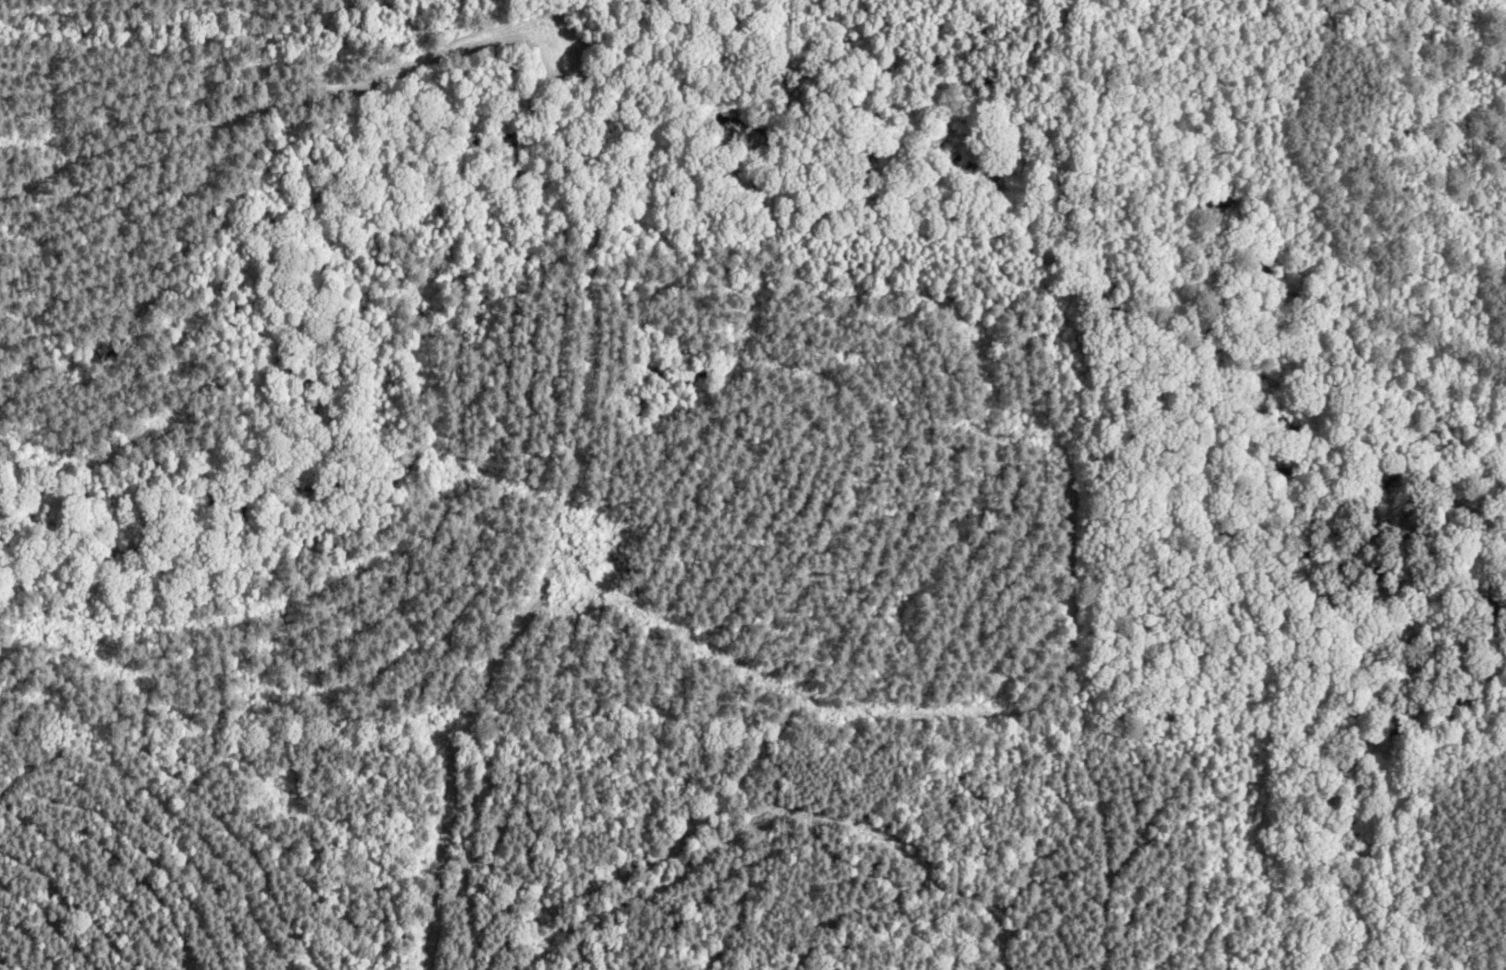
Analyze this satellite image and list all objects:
road: (19, 961)

